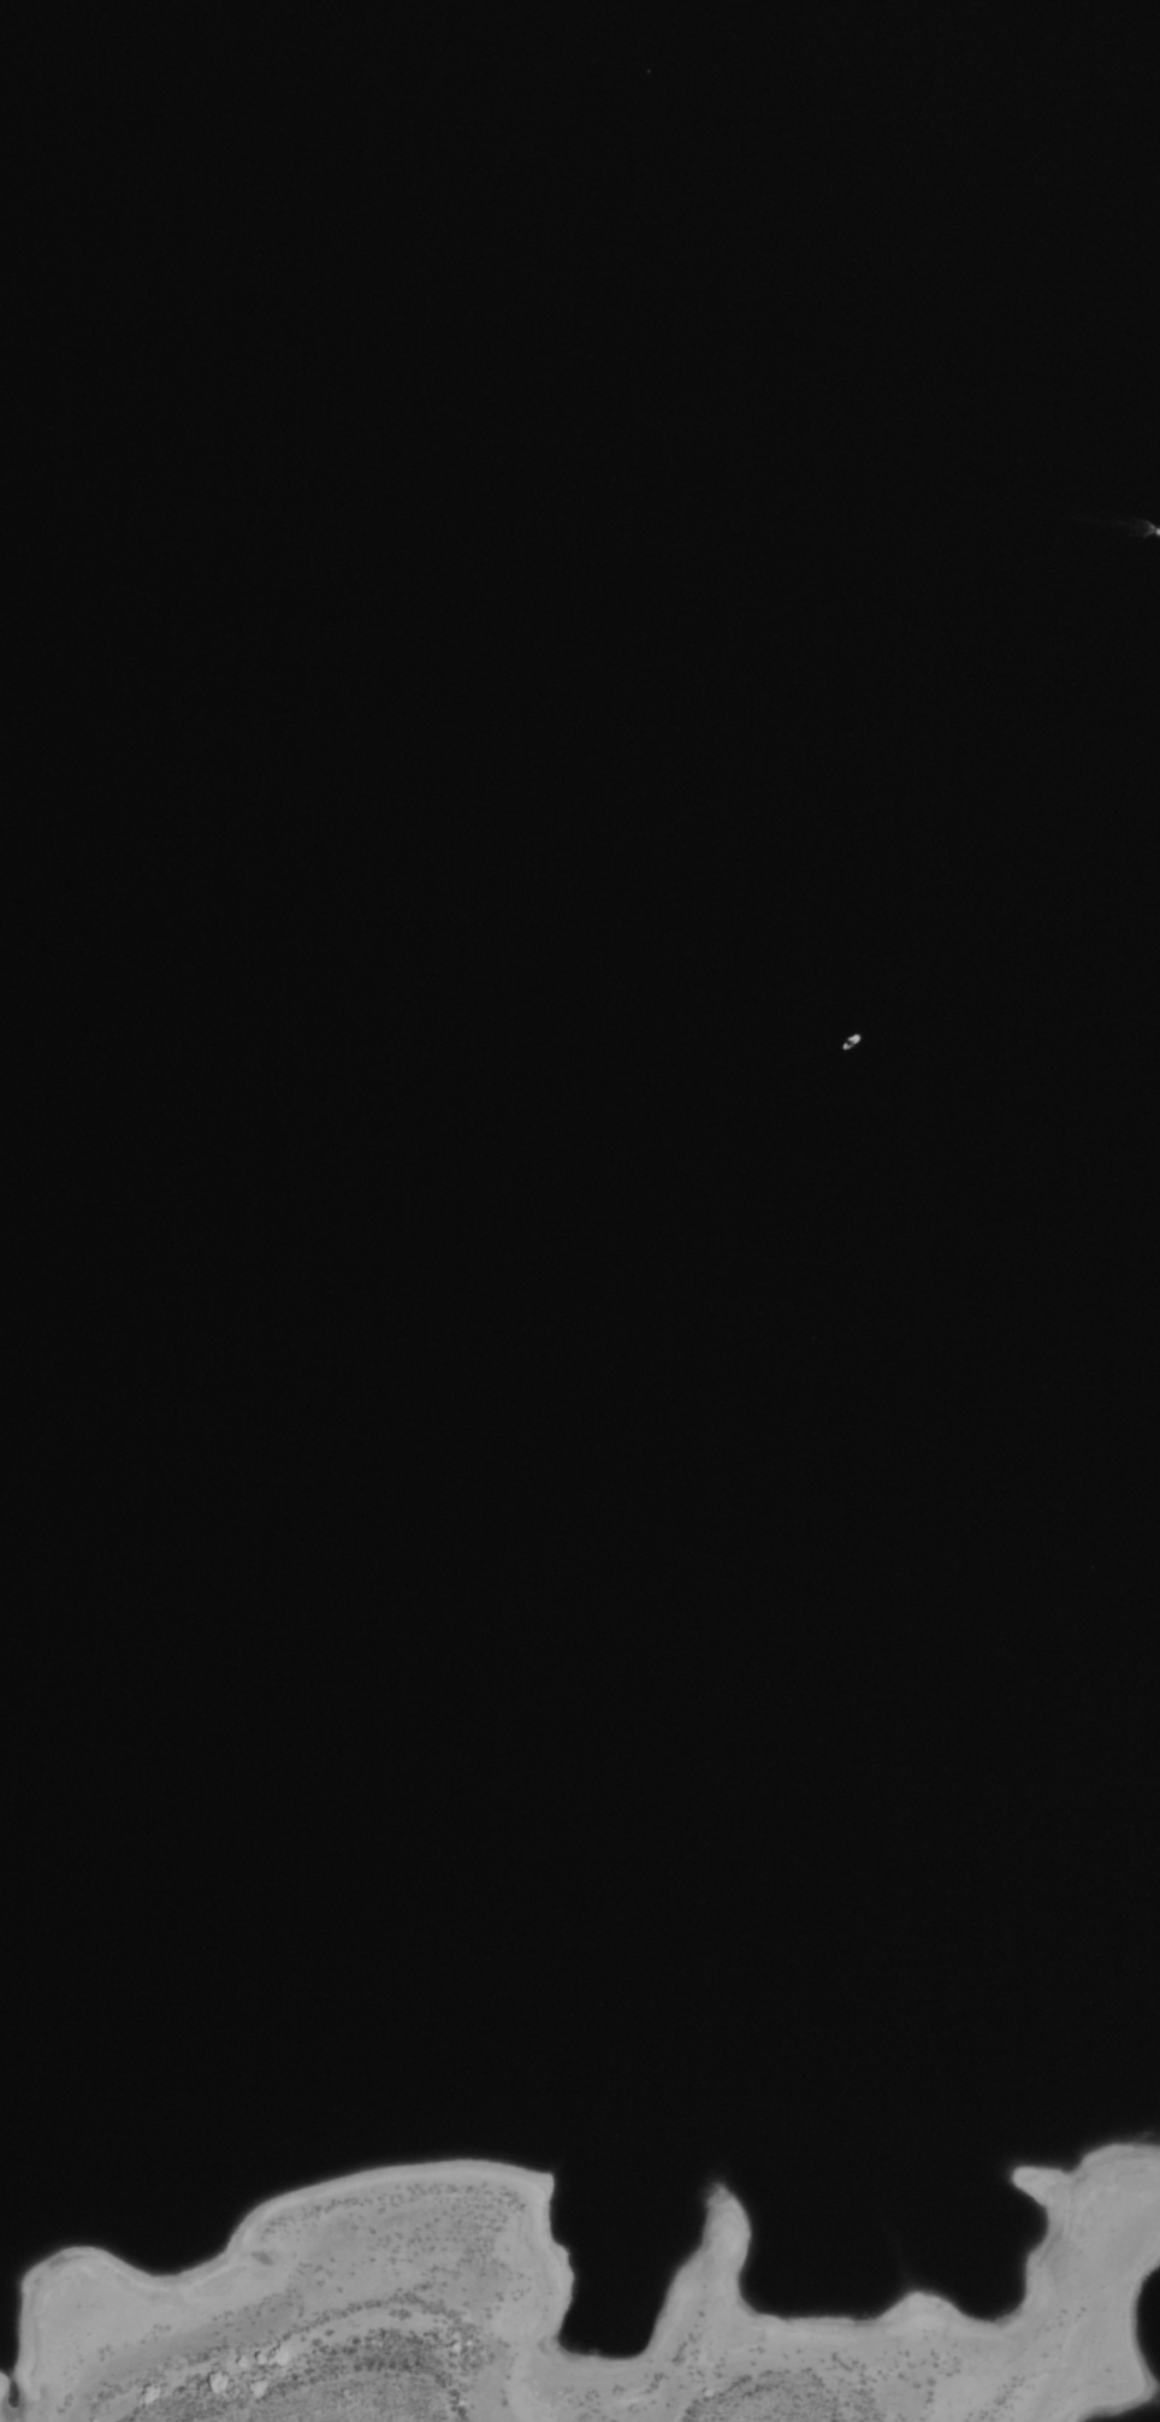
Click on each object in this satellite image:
river: (579, 500)

